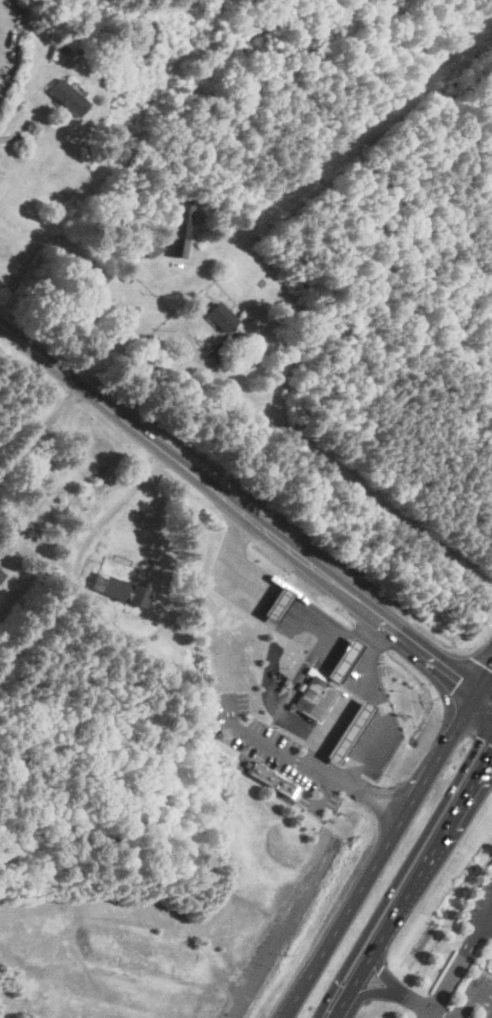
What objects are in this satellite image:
building: (67, 96)
building: (220, 316)
road: (161, 376)
road: (40, 431)
road: (113, 508)
road: (244, 514)
building: (1, 573)
road: (281, 581)
building: (121, 590)
building: (277, 603)
building: (343, 659)
traffic signals: (487, 667)
traffic signals: (461, 679)
building: (313, 697)
road: (375, 699)
gas station: (302, 706)
road: (329, 713)
building: (348, 730)
road: (301, 764)
building: (270, 778)
road: (321, 791)
road: (386, 837)
road: (412, 886)
parking lot: (480, 902)
road: (484, 915)
road: (277, 939)
road: (456, 964)
road: (469, 993)
road: (397, 995)
parking lot: (475, 1003)
road: (423, 1015)

